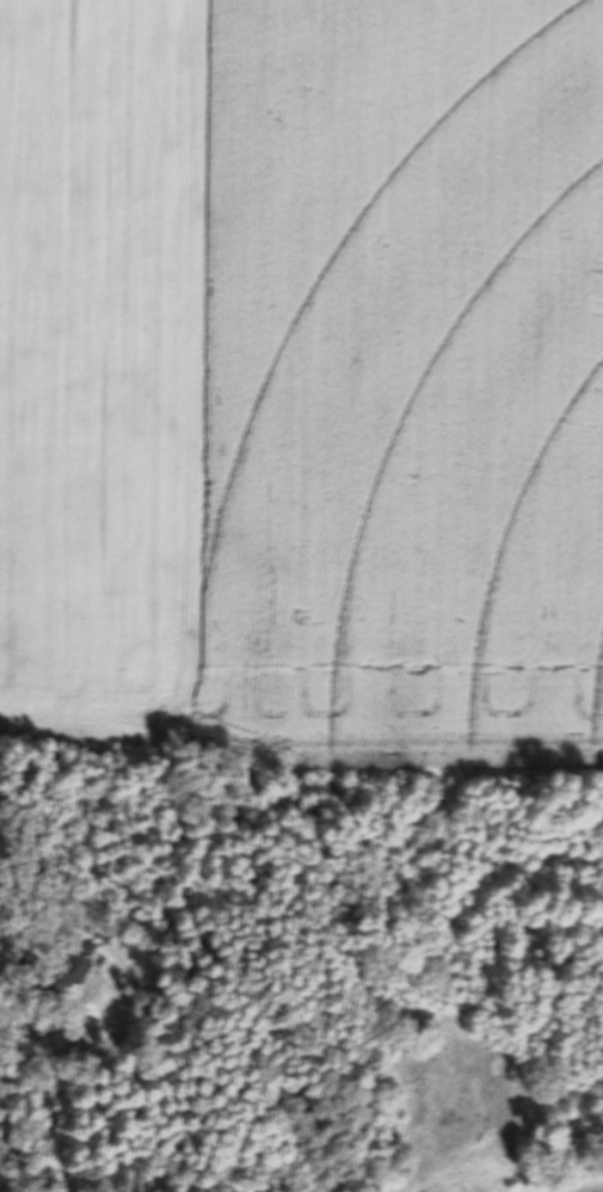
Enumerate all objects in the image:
building: (25, 901)
building: (60, 976)

